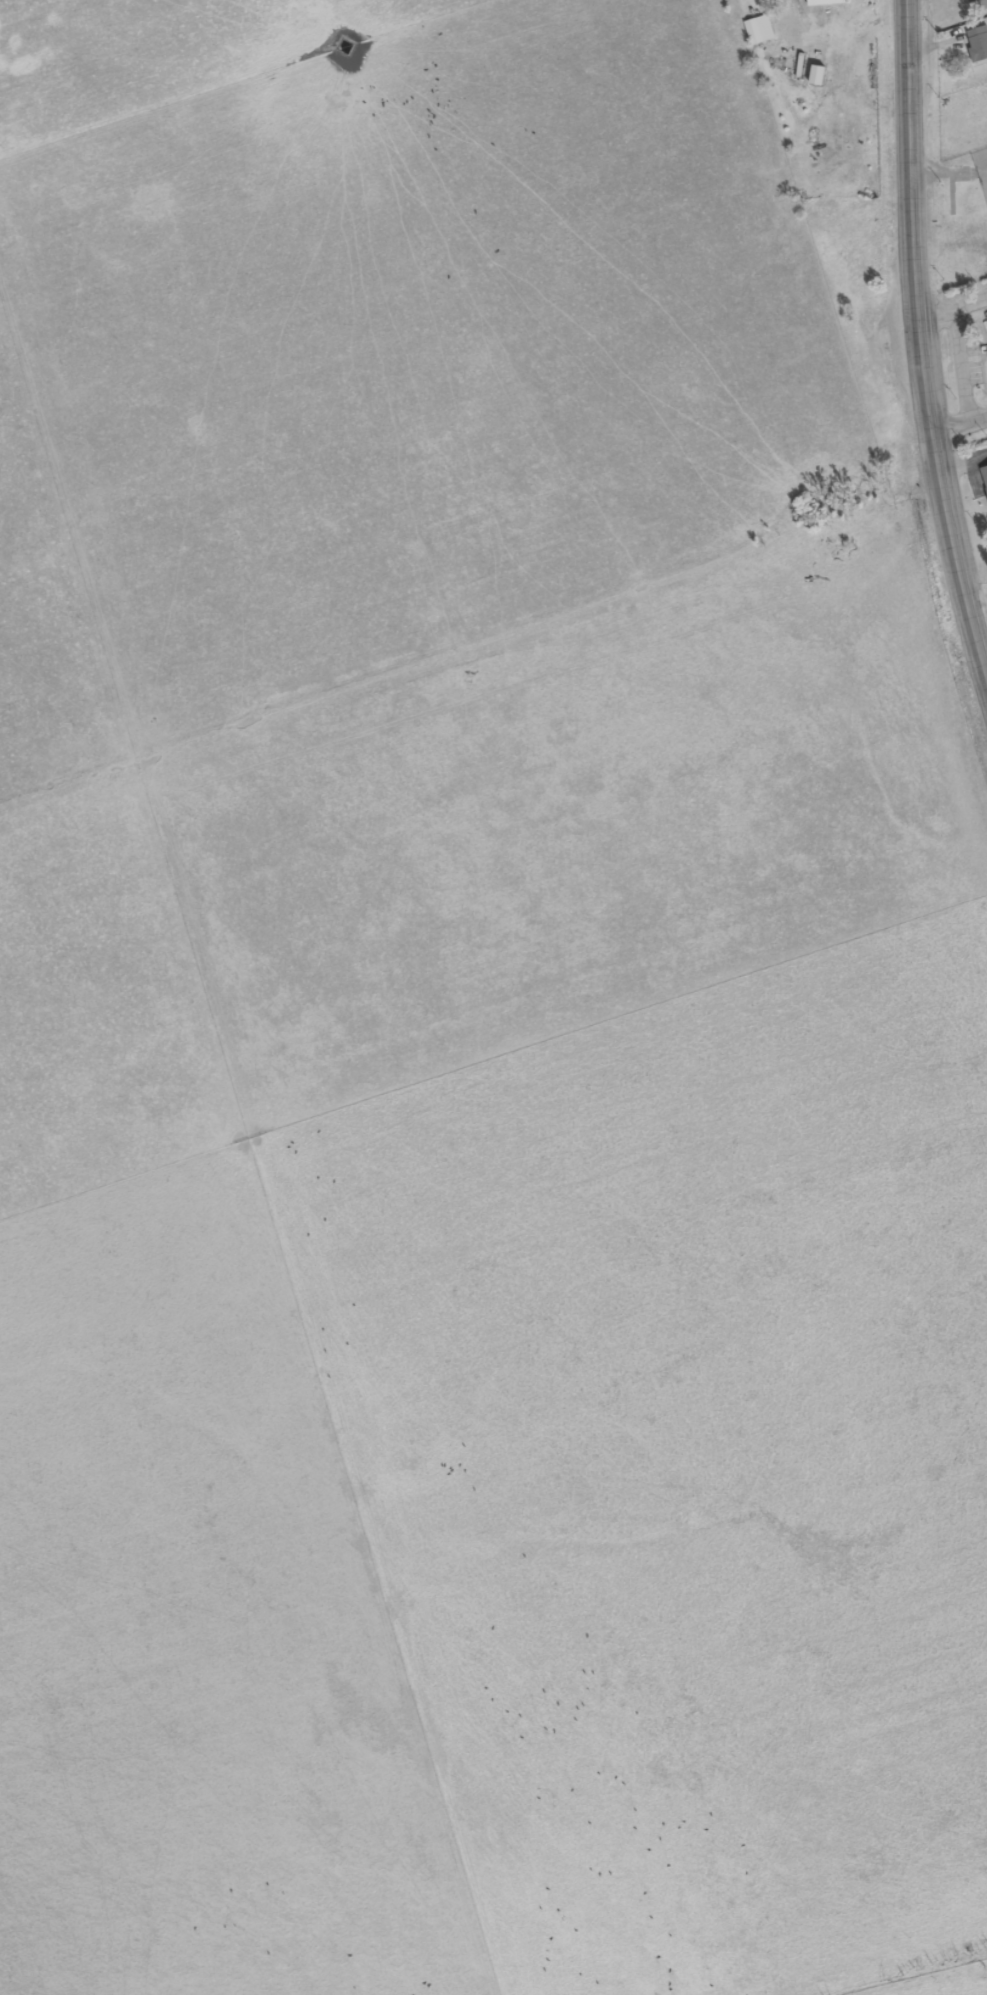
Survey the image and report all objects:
building: (978, 6)
building: (978, 44)
road: (919, 345)
road: (957, 386)
building: (984, 476)

